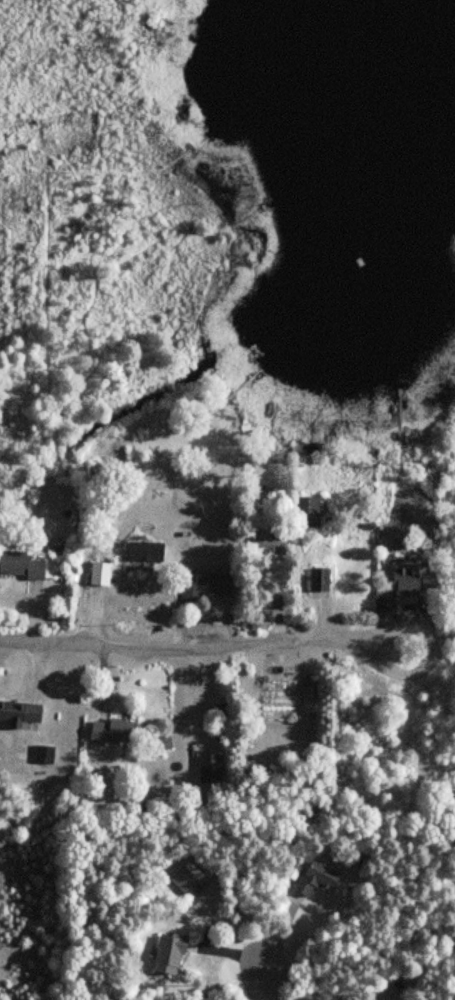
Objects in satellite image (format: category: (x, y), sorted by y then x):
building: (307, 512)
building: (268, 538)
building: (143, 552)
building: (19, 566)
building: (97, 574)
building: (318, 580)
building: (402, 581)
building: (202, 583)
building: (138, 598)
road: (203, 640)
road: (433, 647)
building: (19, 714)
building: (112, 731)
building: (207, 769)
building: (314, 879)
building: (167, 954)
road: (264, 975)

